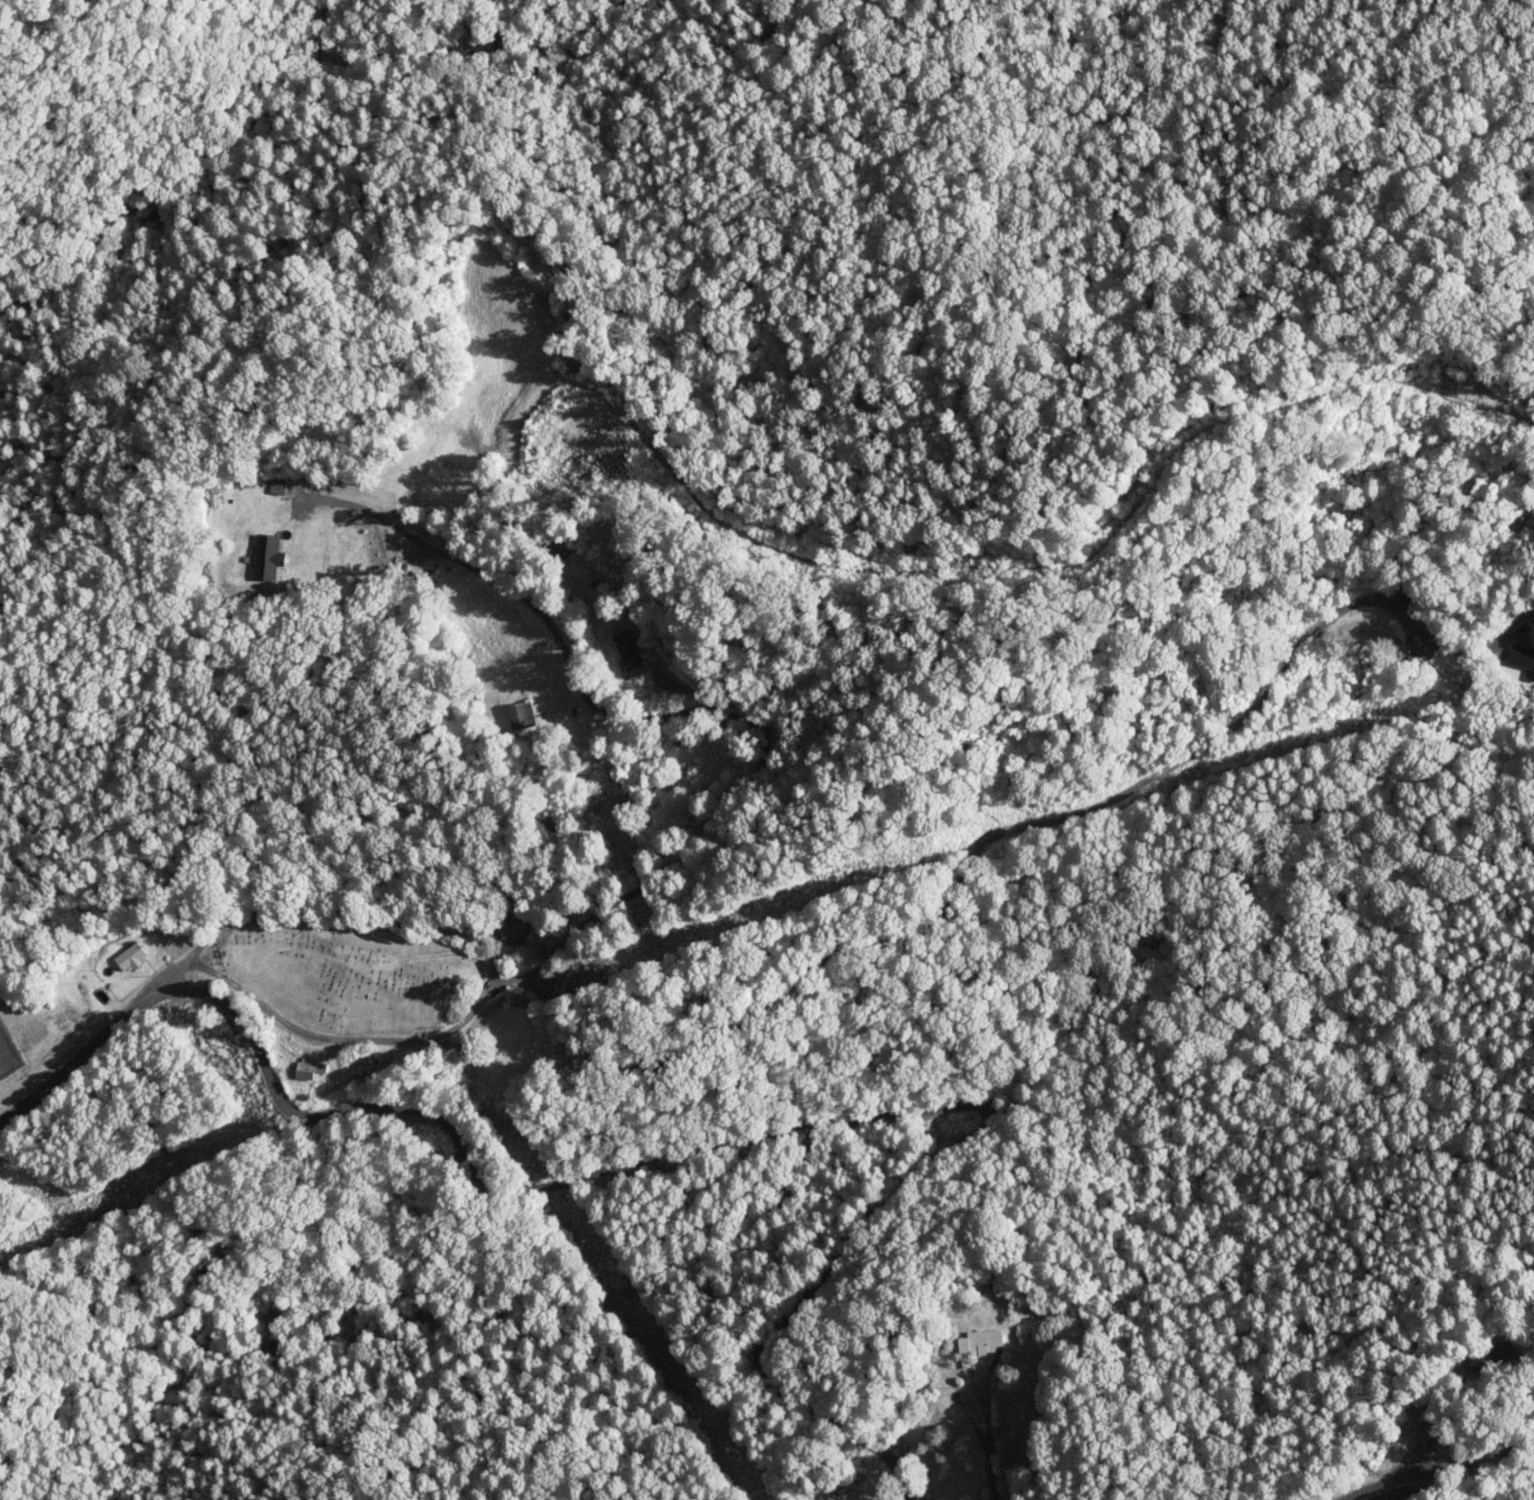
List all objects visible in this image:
building: (585, 359)
building: (274, 502)
building: (556, 552)
building: (1431, 649)
building: (629, 653)
building: (1520, 660)
building: (524, 717)
road: (736, 785)
building: (515, 932)
road: (848, 938)
building: (132, 957)
road: (104, 1034)
building: (310, 1070)
road: (827, 1121)
building: (982, 1343)
road: (1426, 1461)
road: (1529, 1498)

